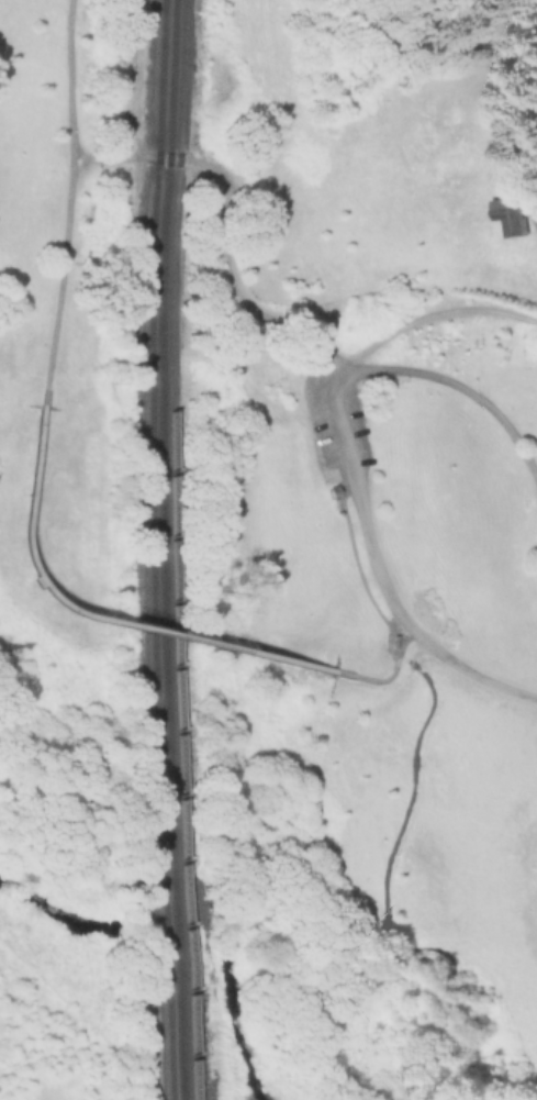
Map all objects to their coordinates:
road: (70, 202)
building: (510, 215)
road: (231, 221)
road: (436, 322)
road: (465, 391)
parking lot: (334, 413)
building: (332, 471)
road: (367, 508)
railway: (152, 549)
railway: (165, 549)
railway: (175, 549)
road: (445, 605)
road: (91, 619)
road: (404, 623)
road: (441, 660)
building: (417, 714)
road: (511, 751)
parking lot: (515, 754)
road: (385, 929)

